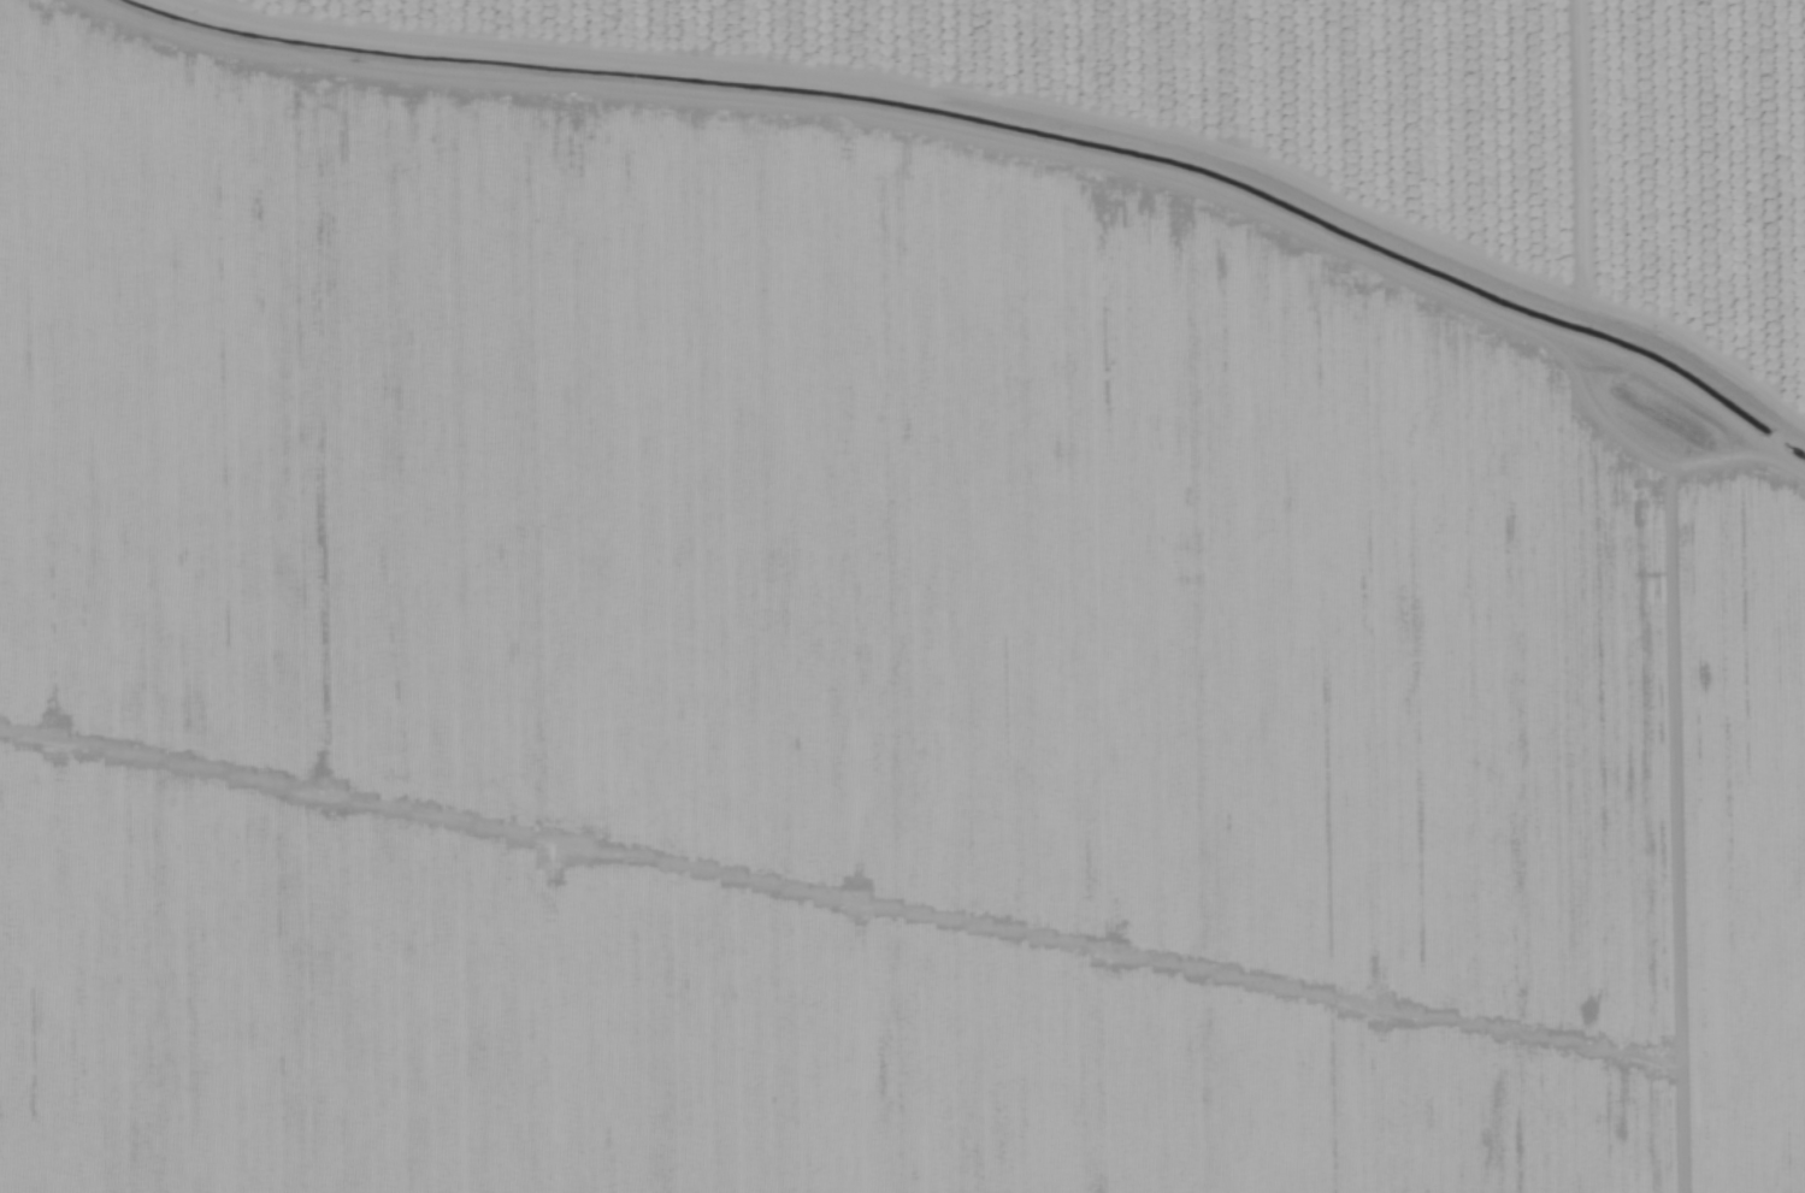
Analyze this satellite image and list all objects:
crop: (1333, 108)
crop: (845, 674)

